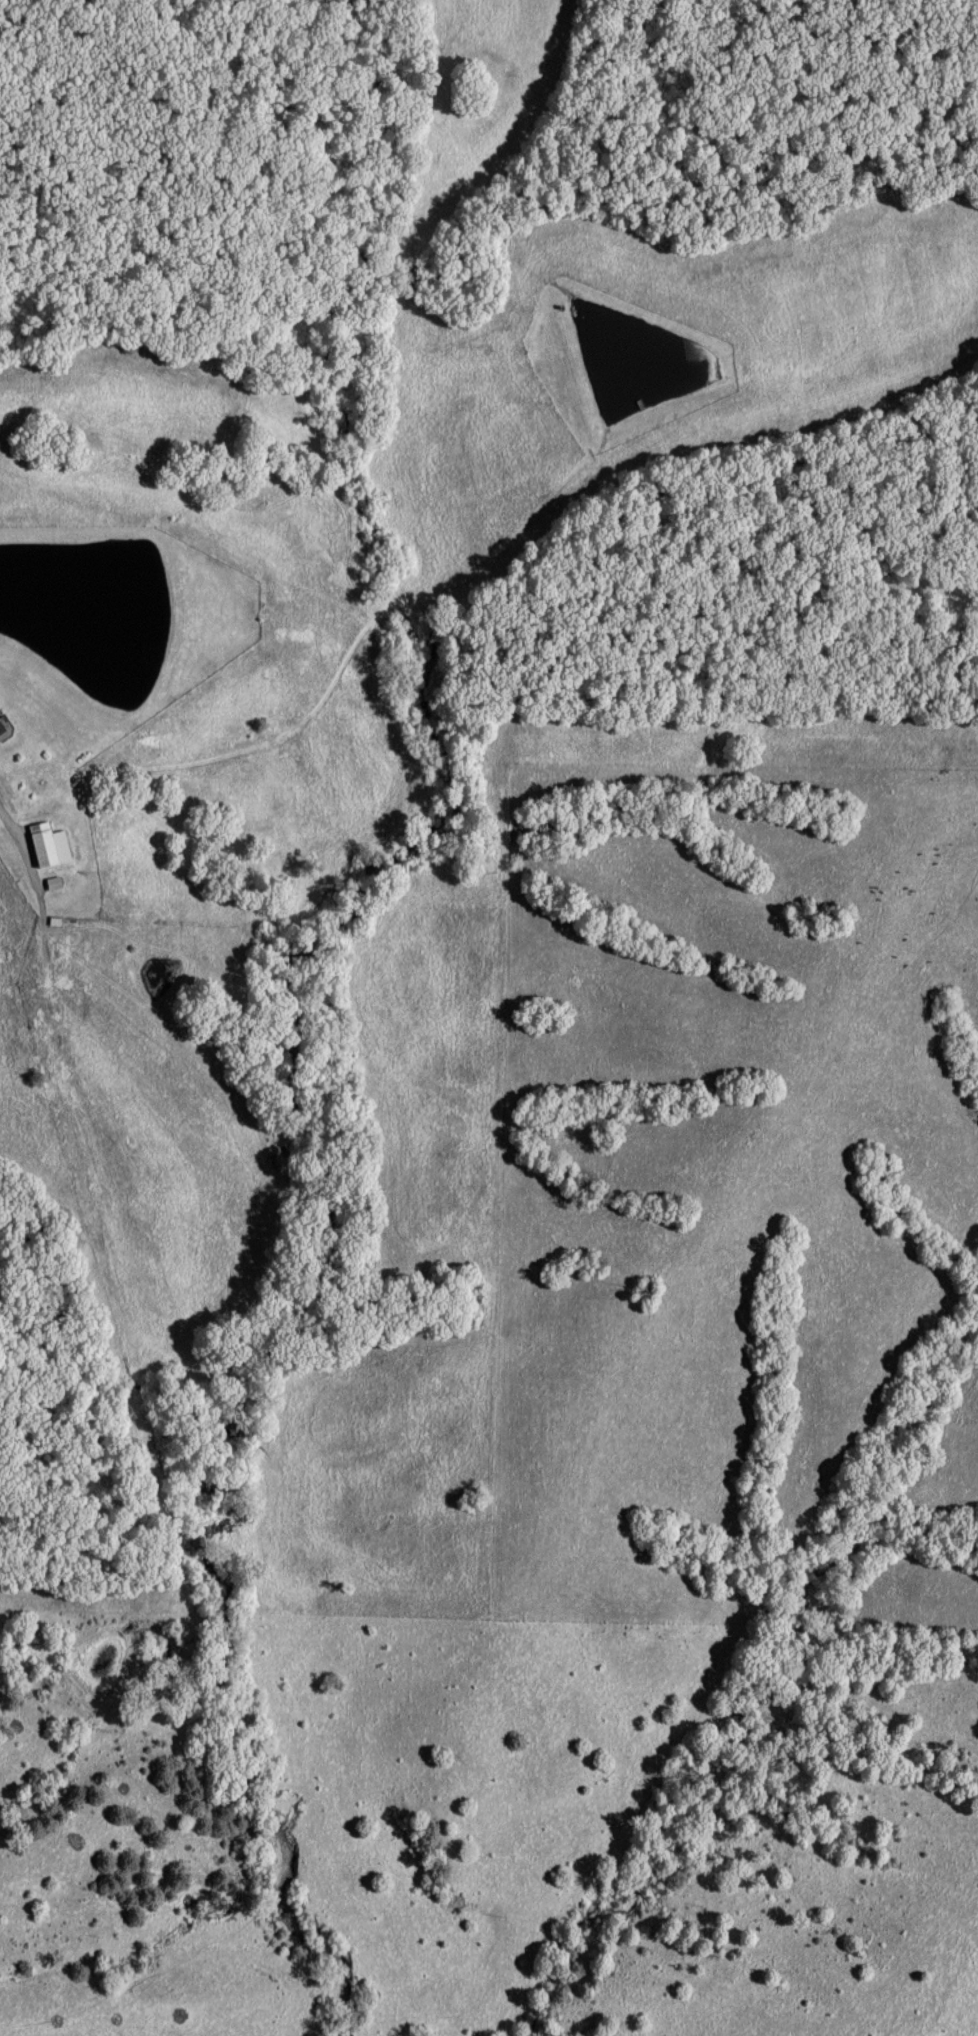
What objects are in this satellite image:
building: (3, 729)
road: (15, 827)
building: (53, 846)

